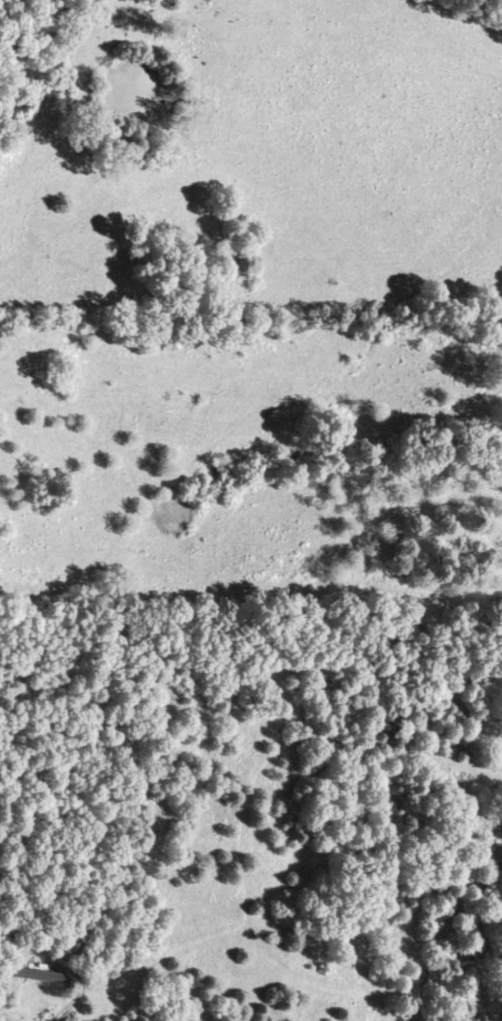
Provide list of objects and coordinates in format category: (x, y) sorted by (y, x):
building: (31, 977)

